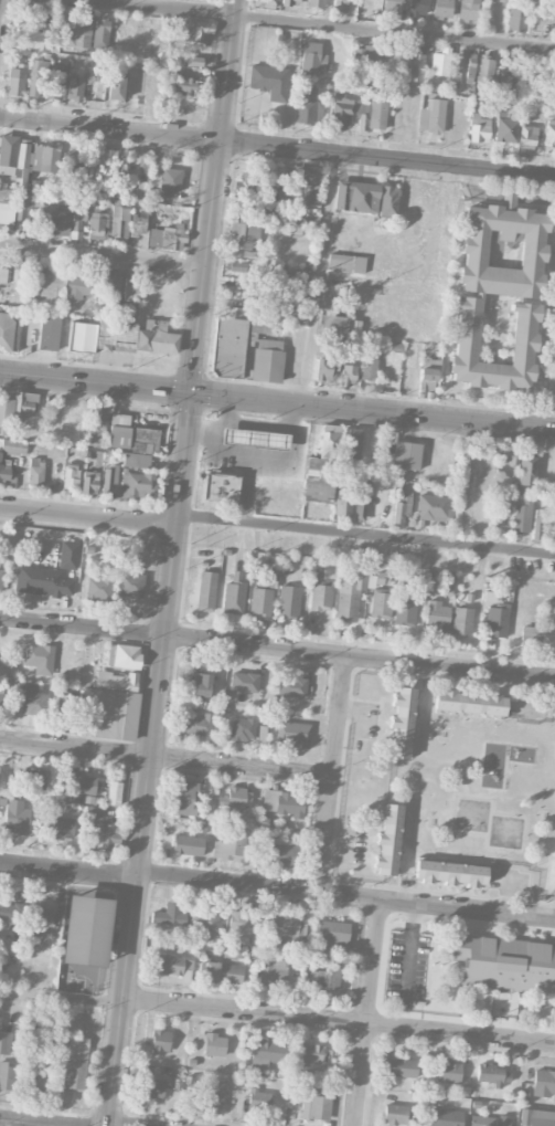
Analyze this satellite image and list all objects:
building: (290, 2)
building: (266, 3)
road: (0, 4)
building: (339, 6)
road: (159, 7)
building: (392, 7)
building: (417, 8)
building: (442, 9)
building: (468, 10)
building: (516, 21)
building: (198, 30)
building: (75, 31)
building: (100, 31)
road: (394, 32)
building: (29, 40)
building: (362, 54)
building: (311, 57)
building: (191, 61)
building: (440, 62)
building: (412, 67)
building: (470, 67)
building: (455, 72)
building: (485, 73)
building: (505, 76)
building: (36, 77)
building: (537, 77)
building: (57, 80)
building: (269, 81)
building: (15, 82)
building: (185, 84)
building: (116, 87)
building: (74, 88)
building: (308, 105)
building: (341, 111)
building: (551, 112)
building: (377, 114)
building: (433, 116)
building: (362, 124)
road: (68, 126)
building: (505, 126)
building: (479, 128)
building: (549, 133)
building: (527, 135)
road: (178, 137)
road: (250, 145)
building: (44, 158)
building: (14, 159)
building: (68, 164)
road: (418, 164)
building: (105, 169)
building: (170, 179)
building: (245, 186)
building: (306, 188)
building: (356, 197)
building: (388, 201)
building: (7, 209)
building: (248, 209)
building: (77, 213)
building: (32, 218)
building: (60, 221)
building: (119, 223)
building: (139, 223)
building: (97, 225)
building: (289, 230)
building: (244, 234)
building: (168, 236)
building: (503, 249)
road: (102, 257)
building: (345, 263)
building: (237, 266)
building: (3, 275)
road: (320, 278)
building: (111, 282)
road: (374, 285)
building: (77, 286)
building: (49, 287)
building: (296, 295)
building: (236, 312)
building: (282, 314)
building: (332, 326)
building: (8, 327)
building: (354, 327)
building: (49, 332)
building: (117, 336)
building: (82, 337)
building: (157, 337)
building: (524, 338)
building: (333, 344)
building: (228, 347)
building: (267, 360)
building: (370, 365)
building: (325, 369)
building: (346, 375)
building: (427, 376)
traffic signals: (190, 390)
road: (277, 400)
building: (24, 404)
building: (6, 415)
building: (98, 418)
building: (75, 420)
building: (131, 435)
road: (184, 435)
building: (353, 444)
building: (13, 446)
building: (406, 455)
building: (509, 455)
building: (137, 460)
building: (322, 466)
building: (4, 471)
building: (526, 471)
building: (35, 472)
building: (71, 474)
building: (108, 480)
building: (89, 482)
building: (137, 485)
building: (220, 487)
building: (362, 498)
building: (343, 506)
building: (402, 506)
building: (433, 508)
road: (87, 515)
building: (521, 515)
building: (553, 524)
building: (540, 525)
road: (364, 532)
building: (68, 555)
building: (312, 570)
building: (0, 578)
building: (42, 581)
building: (129, 583)
building: (98, 588)
building: (206, 591)
building: (350, 593)
building: (234, 594)
building: (321, 594)
building: (262, 598)
building: (288, 602)
building: (381, 604)
building: (405, 611)
building: (437, 615)
building: (495, 617)
building: (462, 621)
building: (537, 639)
road: (277, 649)
building: (124, 656)
building: (39, 657)
building: (244, 682)
building: (200, 685)
building: (291, 686)
building: (0, 697)
building: (33, 699)
building: (469, 703)
building: (113, 706)
building: (62, 712)
building: (402, 723)
building: (200, 725)
building: (243, 728)
building: (292, 733)
road: (164, 758)
road: (331, 772)
building: (34, 778)
building: (82, 786)
building: (114, 793)
building: (185, 798)
building: (232, 799)
building: (284, 802)
building: (93, 812)
building: (15, 815)
building: (62, 828)
building: (107, 835)
building: (388, 839)
building: (188, 844)
building: (230, 846)
building: (281, 851)
road: (67, 871)
building: (449, 873)
road: (226, 878)
road: (349, 893)
road: (468, 905)
building: (10, 914)
building: (168, 914)
building: (40, 917)
building: (205, 920)
building: (287, 925)
building: (246, 927)
building: (86, 930)
building: (332, 937)
road: (372, 959)
building: (505, 962)
building: (172, 966)
building: (222, 972)
building: (275, 972)
building: (323, 979)
road: (60, 996)
road: (120, 999)
road: (338, 1019)
building: (39, 1032)
building: (4, 1041)
building: (160, 1041)
building: (210, 1043)
building: (265, 1052)
building: (308, 1053)
building: (76, 1063)
building: (397, 1067)
building: (448, 1072)
road: (359, 1074)
building: (6, 1075)
building: (493, 1075)
building: (38, 1080)
building: (543, 1083)
building: (152, 1087)
building: (214, 1094)
building: (259, 1099)
building: (314, 1105)
building: (395, 1114)
building: (441, 1117)
building: (537, 1117)
building: (489, 1120)
road: (32, 1122)
road: (127, 1125)

